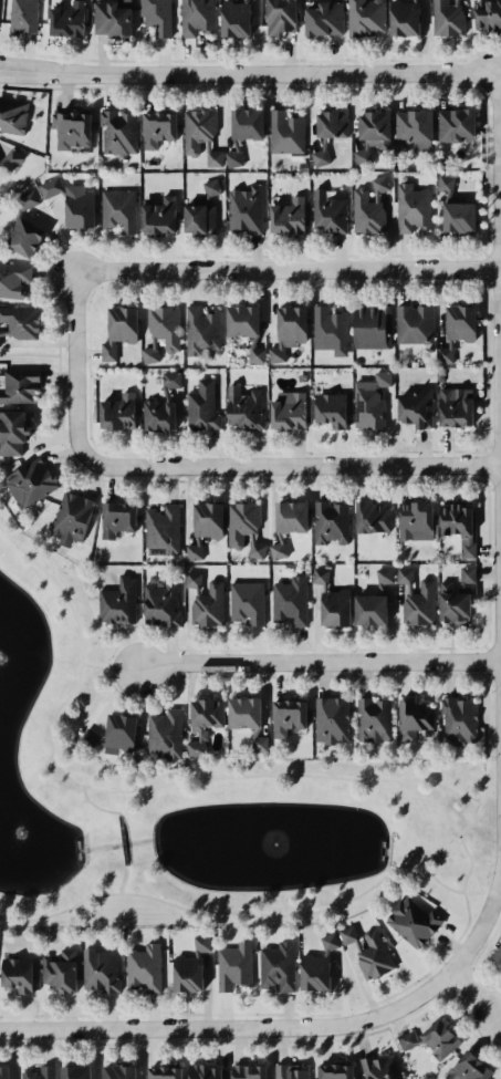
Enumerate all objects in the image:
building: (413, 0)
building: (244, 1)
building: (456, 2)
building: (21, 14)
building: (155, 14)
building: (487, 14)
building: (196, 15)
building: (279, 15)
building: (364, 17)
building: (233, 18)
building: (323, 18)
building: (403, 18)
building: (446, 18)
building: (66, 19)
building: (109, 19)
road: (251, 59)
street lamp: (178, 65)
street lamp: (430, 65)
road: (246, 75)
street lamp: (305, 83)
street lamp: (50, 84)
building: (12, 115)
building: (246, 123)
building: (331, 123)
building: (453, 123)
building: (411, 125)
building: (70, 128)
building: (156, 128)
building: (196, 128)
building: (374, 128)
building: (116, 131)
building: (284, 132)
building: (320, 154)
building: (361, 154)
building: (232, 155)
building: (211, 156)
building: (9, 159)
building: (377, 185)
building: (443, 185)
building: (50, 186)
building: (209, 187)
building: (23, 201)
building: (77, 207)
building: (411, 207)
building: (243, 208)
building: (117, 209)
building: (326, 211)
building: (365, 211)
building: (158, 215)
building: (199, 215)
building: (286, 215)
building: (458, 216)
building: (23, 237)
street lamp: (491, 245)
road: (484, 252)
street lamp: (353, 260)
road: (486, 266)
road: (289, 269)
building: (12, 278)
street lamp: (219, 281)
road: (483, 281)
building: (240, 320)
road: (500, 320)
building: (19, 321)
building: (459, 322)
building: (121, 323)
building: (413, 323)
building: (164, 325)
building: (290, 325)
building: (370, 325)
building: (199, 329)
building: (328, 330)
building: (3, 331)
street lamp: (65, 350)
building: (107, 351)
building: (149, 352)
building: (254, 352)
building: (443, 352)
road: (29, 353)
building: (275, 354)
road: (73, 369)
building: (169, 382)
building: (18, 384)
building: (369, 401)
building: (200, 405)
building: (453, 406)
building: (414, 407)
building: (242, 408)
building: (328, 408)
building: (286, 409)
building: (116, 412)
building: (157, 414)
building: (11, 430)
road: (486, 449)
road: (111, 452)
street lamp: (438, 455)
road: (488, 464)
road: (290, 467)
street lamp: (310, 477)
road: (484, 479)
building: (29, 481)
road: (487, 489)
street lamp: (493, 491)
building: (290, 516)
building: (370, 516)
building: (70, 517)
building: (116, 518)
building: (206, 518)
building: (414, 520)
building: (240, 521)
building: (330, 521)
building: (457, 525)
building: (160, 528)
building: (254, 547)
building: (276, 547)
building: (194, 549)
building: (465, 575)
building: (319, 577)
building: (383, 577)
building: (404, 577)
building: (192, 580)
building: (289, 600)
building: (116, 601)
building: (246, 601)
building: (159, 602)
building: (418, 604)
building: (207, 605)
building: (451, 605)
building: (334, 606)
building: (369, 609)
road: (486, 645)
road: (487, 661)
road: (321, 663)
road: (92, 664)
street lamp: (227, 672)
road: (484, 676)
street lamp: (494, 692)
building: (242, 713)
building: (286, 716)
building: (411, 717)
building: (330, 719)
building: (372, 719)
building: (457, 719)
building: (202, 723)
building: (117, 733)
building: (163, 733)
building: (88, 737)
building: (257, 741)
street lamp: (495, 759)
road: (129, 789)
park: (199, 799)
road: (92, 805)
road: (119, 838)
fountain: (254, 847)
fountain: (13, 848)
road: (122, 879)
road: (489, 905)
road: (237, 911)
building: (410, 921)
building: (347, 935)
building: (327, 942)
road: (450, 942)
building: (199, 943)
building: (498, 953)
building: (373, 955)
road: (478, 958)
building: (233, 965)
building: (275, 965)
building: (143, 966)
building: (98, 969)
building: (59, 971)
building: (313, 972)
road: (472, 972)
building: (15, 973)
building: (186, 973)
road: (460, 979)
road: (452, 989)
street lamp: (439, 993)
road: (477, 993)
road: (255, 1026)
street lamp: (352, 1034)
street lamp: (229, 1038)
building: (438, 1038)
building: (407, 1039)
street lamp: (98, 1040)
road: (271, 1041)
building: (377, 1067)
building: (466, 1067)
building: (116, 1071)
building: (201, 1071)
building: (247, 1071)
building: (289, 1071)
building: (333, 1071)
building: (3, 1072)
building: (40, 1072)
building: (74, 1072)
building: (163, 1072)

